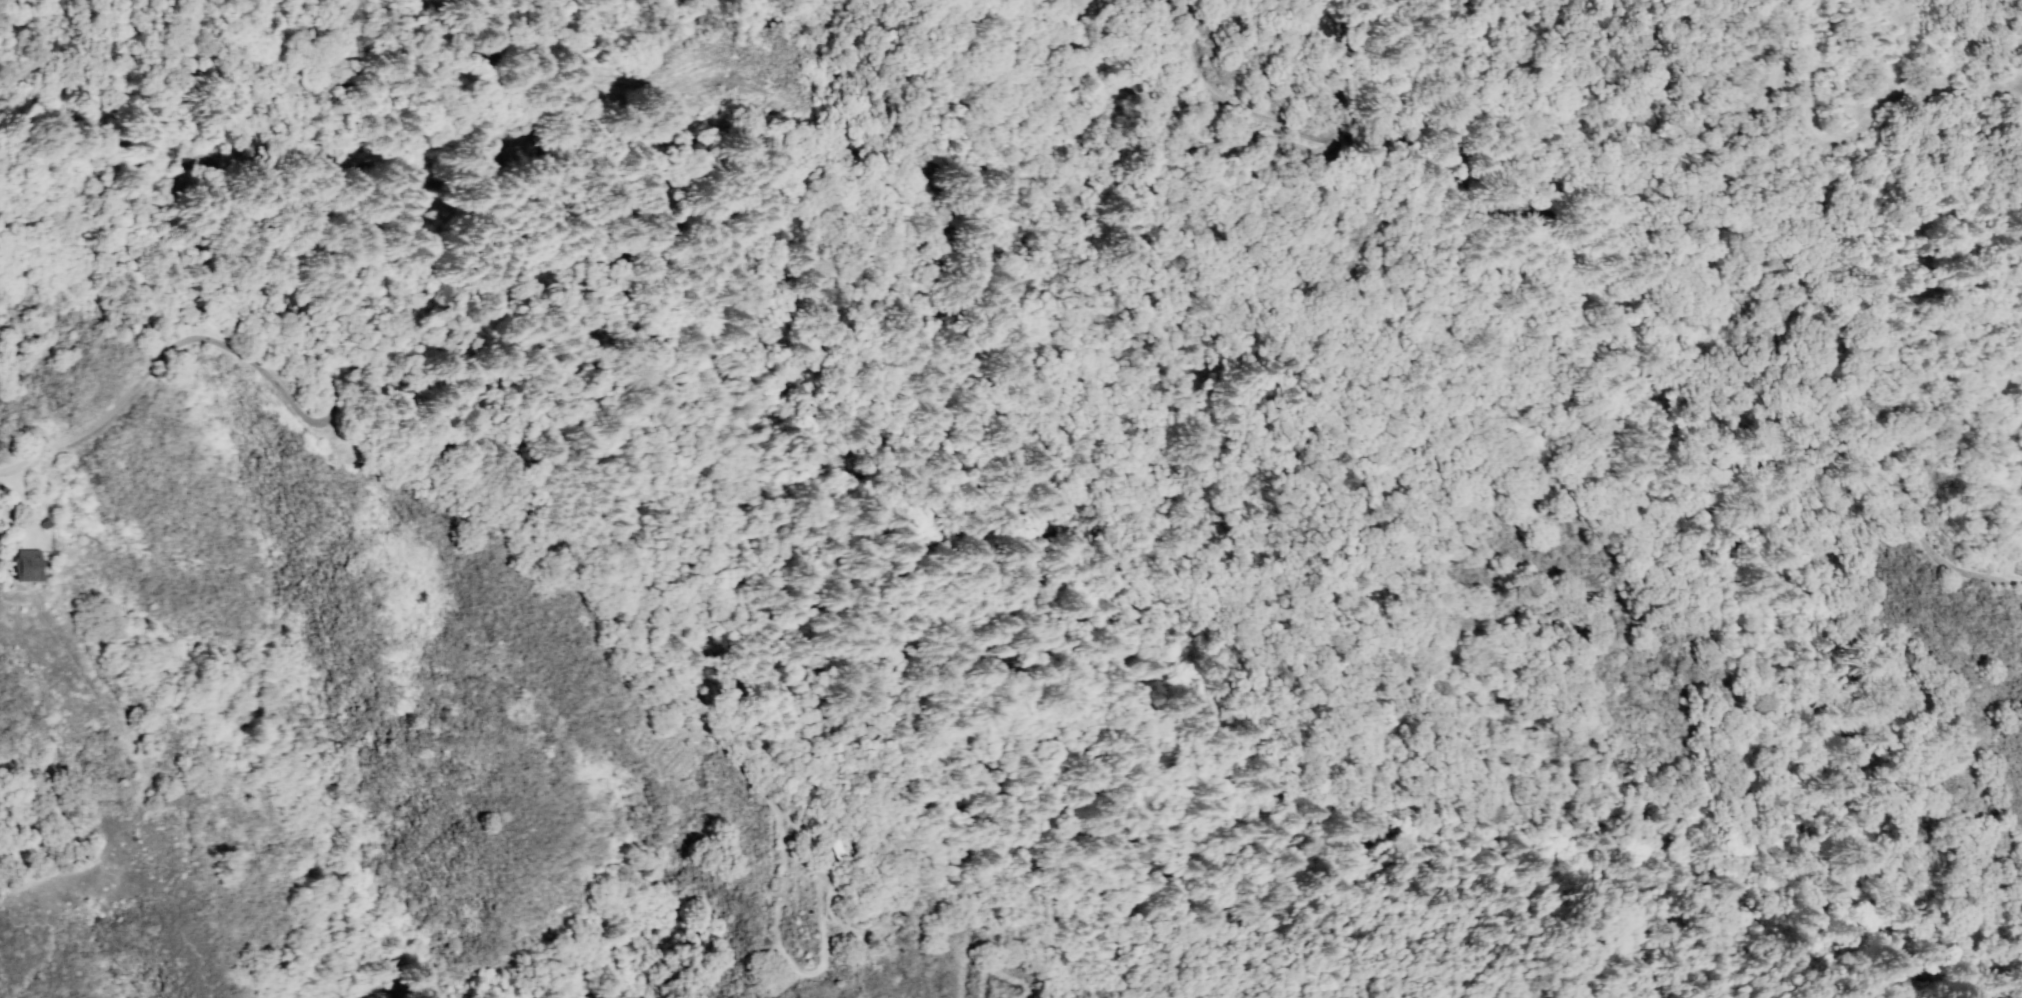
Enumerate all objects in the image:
road: (1763, 90)
road: (1856, 122)
road: (1289, 133)
road: (549, 159)
road: (310, 256)
road: (1733, 308)
road: (327, 436)
road: (25, 504)
building: (24, 565)
road: (141, 771)
building: (843, 846)
storage tank: (843, 846)
road: (779, 907)
road: (822, 917)

